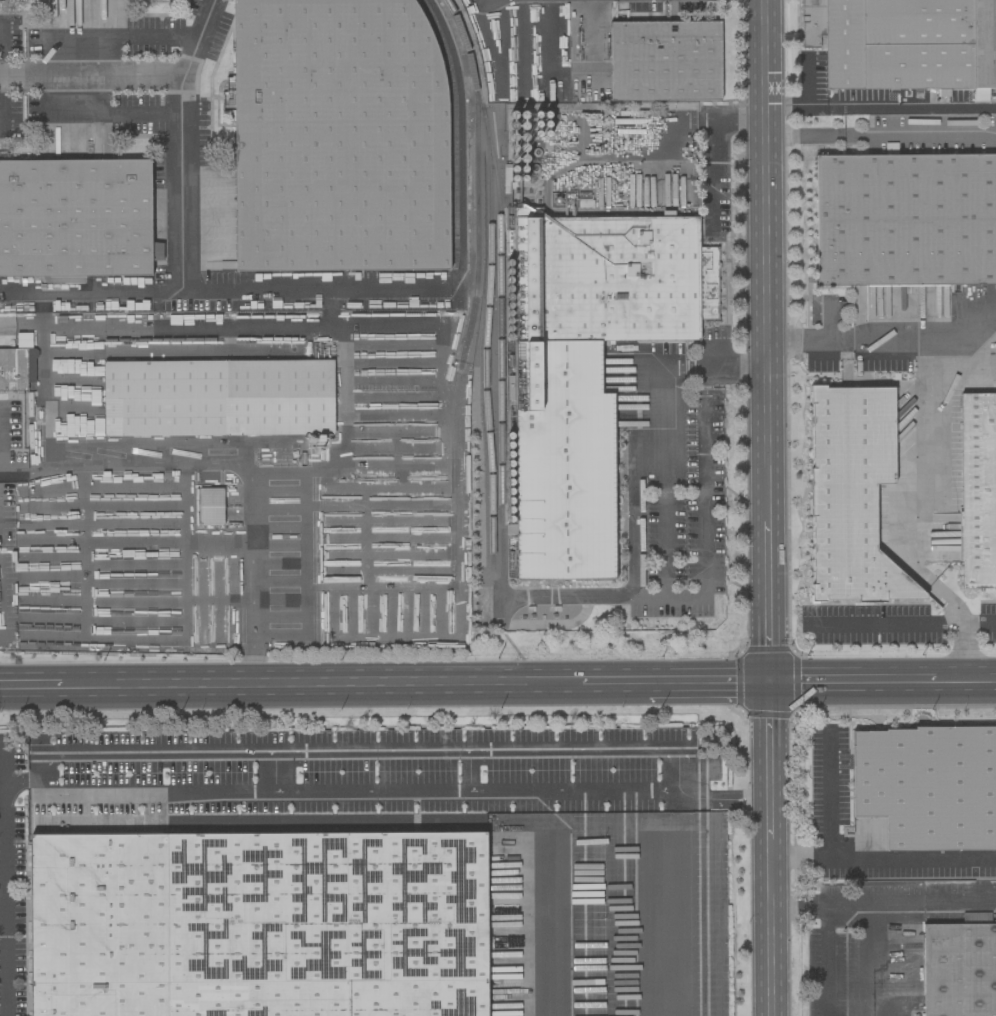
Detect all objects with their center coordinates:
railway: (458, 25)
road: (130, 38)
road: (199, 38)
building: (904, 43)
road: (0, 47)
building: (664, 61)
road: (181, 91)
road: (880, 108)
road: (674, 119)
railway: (454, 121)
road: (919, 133)
building: (338, 135)
road: (804, 135)
road: (710, 148)
building: (76, 218)
building: (905, 220)
road: (309, 290)
road: (91, 291)
road: (978, 299)
railway: (486, 310)
railway: (498, 315)
railway: (469, 321)
road: (828, 322)
road: (164, 326)
road: (960, 336)
building: (23, 340)
road: (808, 341)
road: (175, 353)
building: (13, 369)
building: (591, 371)
road: (47, 398)
building: (219, 398)
road: (767, 398)
road: (442, 407)
road: (345, 411)
road: (930, 432)
road: (233, 465)
building: (851, 495)
building: (977, 496)
building: (210, 506)
road: (133, 543)
road: (83, 551)
road: (134, 563)
road: (2, 567)
road: (664, 571)
road: (43, 577)
road: (304, 582)
road: (135, 583)
road: (134, 599)
road: (3, 607)
road: (101, 619)
road: (887, 626)
road: (962, 626)
road: (979, 626)
road: (184, 632)
road: (969, 680)
road: (856, 683)
road: (706, 685)
traffic signals: (769, 685)
road: (612, 686)
road: (321, 687)
road: (31, 690)
road: (44, 754)
road: (467, 770)
road: (273, 771)
road: (22, 779)
building: (927, 786)
road: (829, 796)
road: (727, 798)
road: (882, 862)
road: (4, 877)
road: (672, 903)
road: (855, 903)
road: (798, 904)
road: (770, 907)
building: (258, 924)
road: (548, 925)
road: (874, 959)
building: (959, 970)

